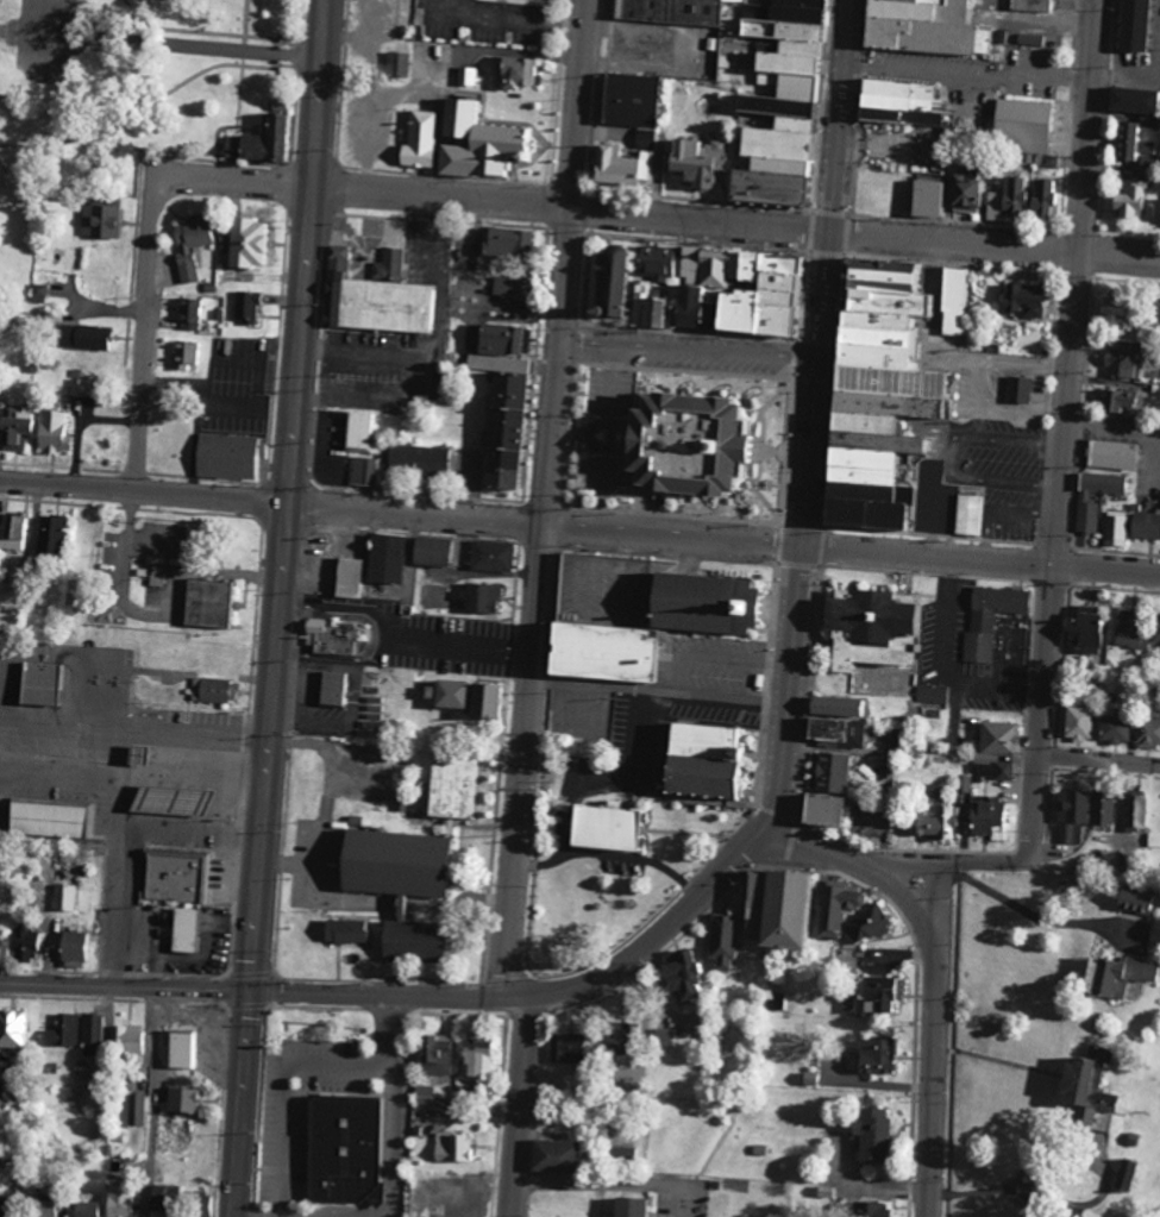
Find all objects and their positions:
building: (1032, 5)
building: (669, 11)
building: (1129, 25)
building: (920, 26)
road: (175, 46)
building: (396, 64)
building: (513, 73)
park: (151, 93)
building: (626, 100)
building: (898, 101)
building: (1131, 102)
building: (776, 103)
building: (1018, 125)
building: (265, 140)
building: (415, 142)
building: (476, 143)
building: (1130, 143)
building: (691, 161)
building: (642, 165)
building: (609, 167)
building: (960, 194)
building: (921, 199)
building: (1023, 200)
building: (1128, 200)
road: (573, 207)
building: (1156, 209)
building: (109, 221)
road: (996, 238)
building: (243, 243)
building: (502, 243)
building: (192, 244)
road: (149, 261)
building: (682, 265)
building: (606, 281)
building: (376, 287)
building: (504, 287)
building: (742, 299)
building: (951, 301)
building: (1020, 301)
building: (246, 306)
building: (644, 306)
building: (1106, 306)
building: (192, 314)
building: (1154, 316)
building: (878, 333)
building: (102, 338)
road: (690, 351)
building: (187, 355)
building: (1118, 364)
road: (1067, 376)
building: (83, 388)
building: (1017, 390)
building: (497, 395)
building: (1118, 400)
road: (815, 412)
building: (40, 429)
building: (360, 432)
building: (676, 446)
building: (222, 454)
building: (1110, 454)
building: (416, 459)
building: (363, 471)
building: (861, 473)
road: (290, 495)
road: (546, 498)
road: (401, 512)
building: (967, 515)
building: (1086, 517)
building: (1114, 528)
building: (18, 533)
building: (58, 535)
building: (427, 550)
building: (490, 556)
building: (383, 557)
road: (980, 558)
building: (158, 576)
building: (347, 577)
building: (479, 596)
building: (206, 601)
building: (989, 619)
building: (870, 626)
building: (1128, 628)
building: (1155, 628)
building: (1080, 631)
building: (332, 635)
road: (716, 657)
building: (40, 682)
building: (332, 688)
building: (212, 690)
building: (444, 692)
building: (932, 692)
building: (481, 698)
road: (716, 698)
building: (835, 704)
building: (1077, 722)
building: (1114, 728)
road: (136, 729)
building: (834, 729)
building: (1147, 732)
building: (997, 736)
building: (134, 753)
building: (700, 759)
road: (1101, 759)
road: (638, 763)
building: (1003, 770)
building: (829, 771)
building: (983, 771)
road: (123, 779)
building: (447, 784)
building: (170, 799)
building: (1072, 805)
building: (817, 808)
building: (1102, 808)
building: (1134, 813)
building: (986, 817)
building: (49, 820)
building: (934, 821)
building: (602, 826)
building: (1070, 833)
road: (133, 838)
road: (638, 855)
road: (949, 860)
building: (388, 861)
building: (180, 877)
gas station: (180, 877)
building: (63, 896)
road: (913, 896)
building: (1134, 899)
building: (776, 907)
building: (838, 907)
road: (1027, 915)
building: (866, 922)
building: (184, 929)
building: (344, 930)
building: (23, 934)
building: (408, 940)
building: (721, 940)
building: (70, 948)
road: (207, 952)
building: (681, 974)
building: (1114, 974)
road: (126, 984)
building: (874, 992)
road: (546, 997)
building: (12, 1028)
building: (63, 1030)
building: (92, 1035)
building: (617, 1036)
building: (666, 1037)
road: (943, 1039)
building: (130, 1041)
building: (565, 1047)
building: (181, 1049)
building: (435, 1054)
building: (873, 1054)
building: (476, 1058)
building: (1085, 1089)
building: (424, 1096)
building: (182, 1099)
road: (155, 1100)
road: (244, 1104)
road: (523, 1108)
building: (137, 1109)
building: (869, 1134)
building: (452, 1147)
building: (340, 1149)
building: (551, 1155)
building: (0, 1161)
building: (1128, 1175)
road: (608, 1185)
road: (872, 1187)
road: (1011, 1191)
building: (109, 1204)
building: (200, 1204)
building: (628, 1206)
building: (43, 1209)
building: (870, 1209)

